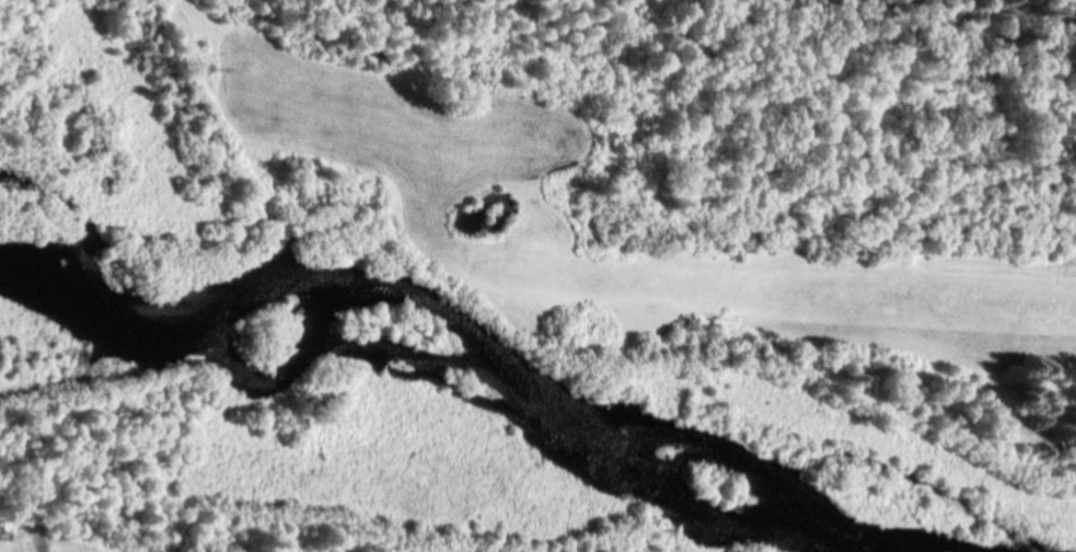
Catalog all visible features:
park: (623, 54)
river: (472, 326)
road: (44, 529)

